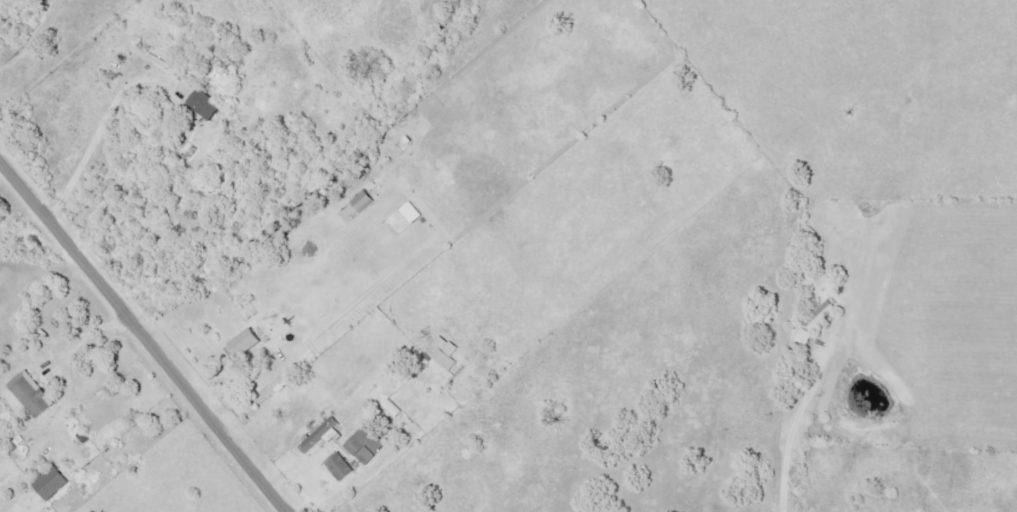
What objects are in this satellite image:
building: (207, 105)
building: (365, 202)
building: (414, 213)
building: (818, 318)
road: (142, 338)
building: (248, 343)
building: (445, 353)
building: (34, 395)
building: (379, 422)
building: (324, 434)
building: (367, 444)
building: (341, 467)
building: (54, 484)

